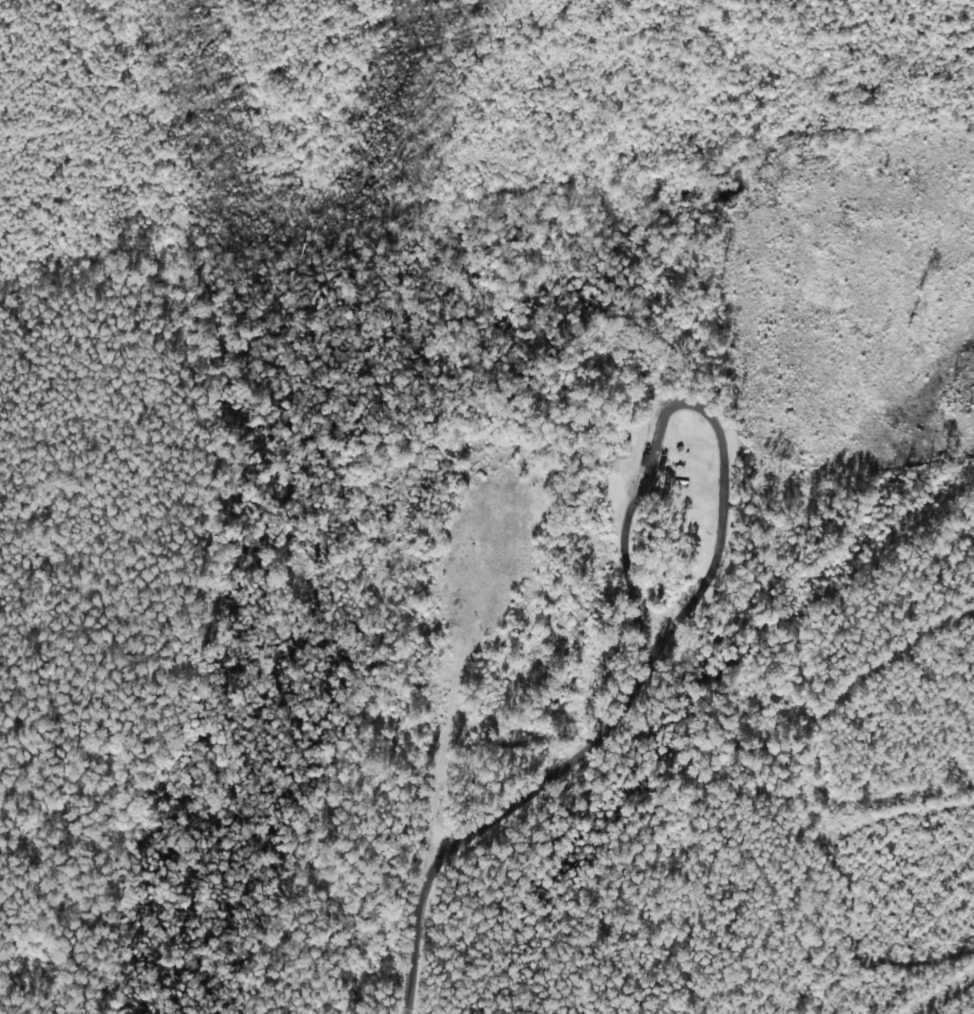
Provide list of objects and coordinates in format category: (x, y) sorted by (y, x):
road: (407, 764)

